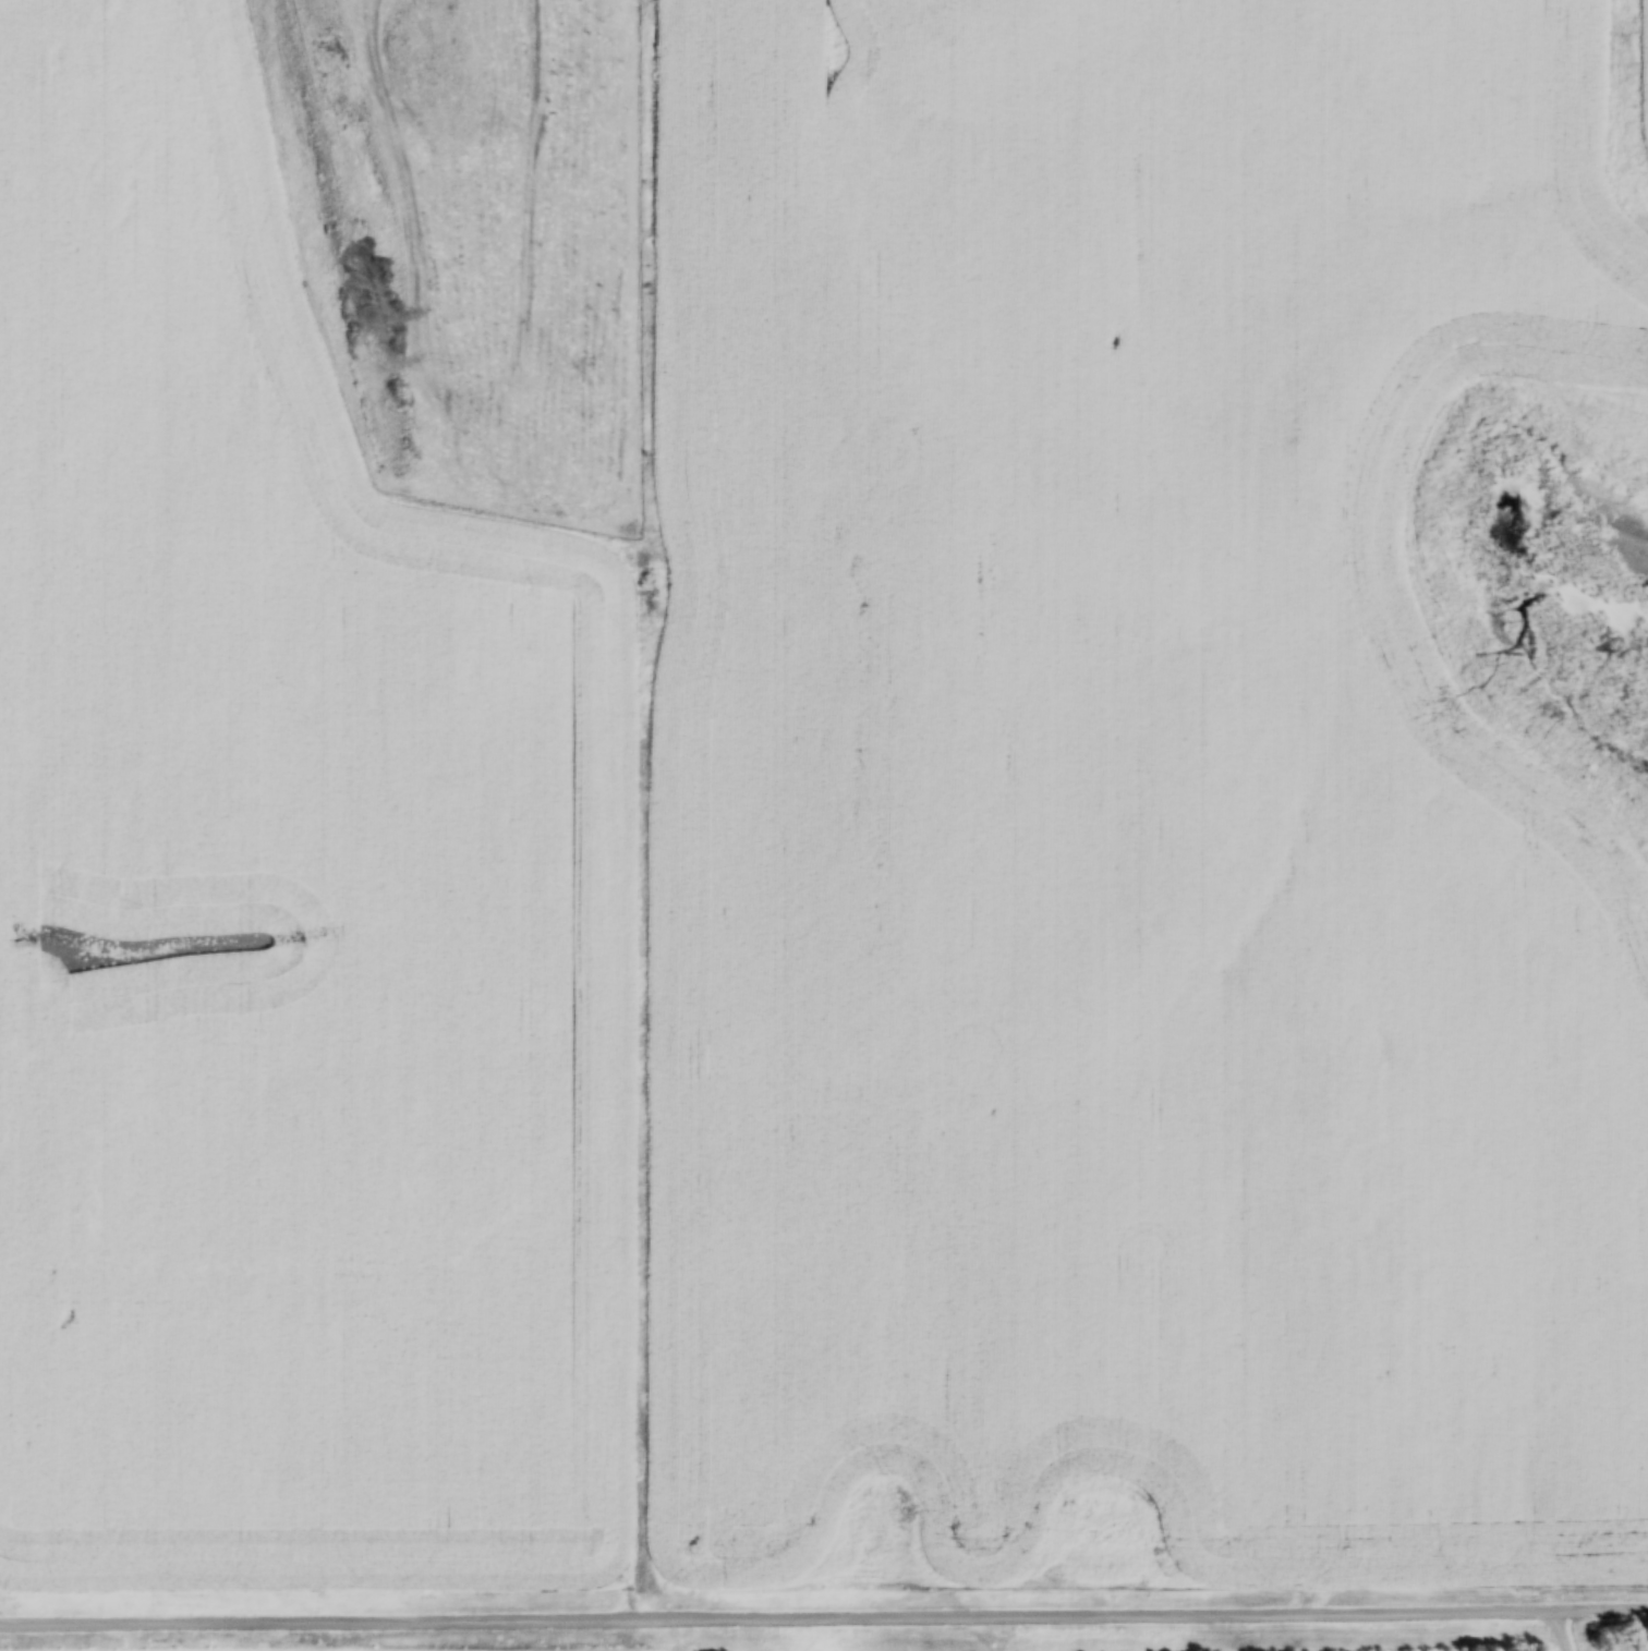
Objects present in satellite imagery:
road: (824, 1614)
road: (1561, 1628)

